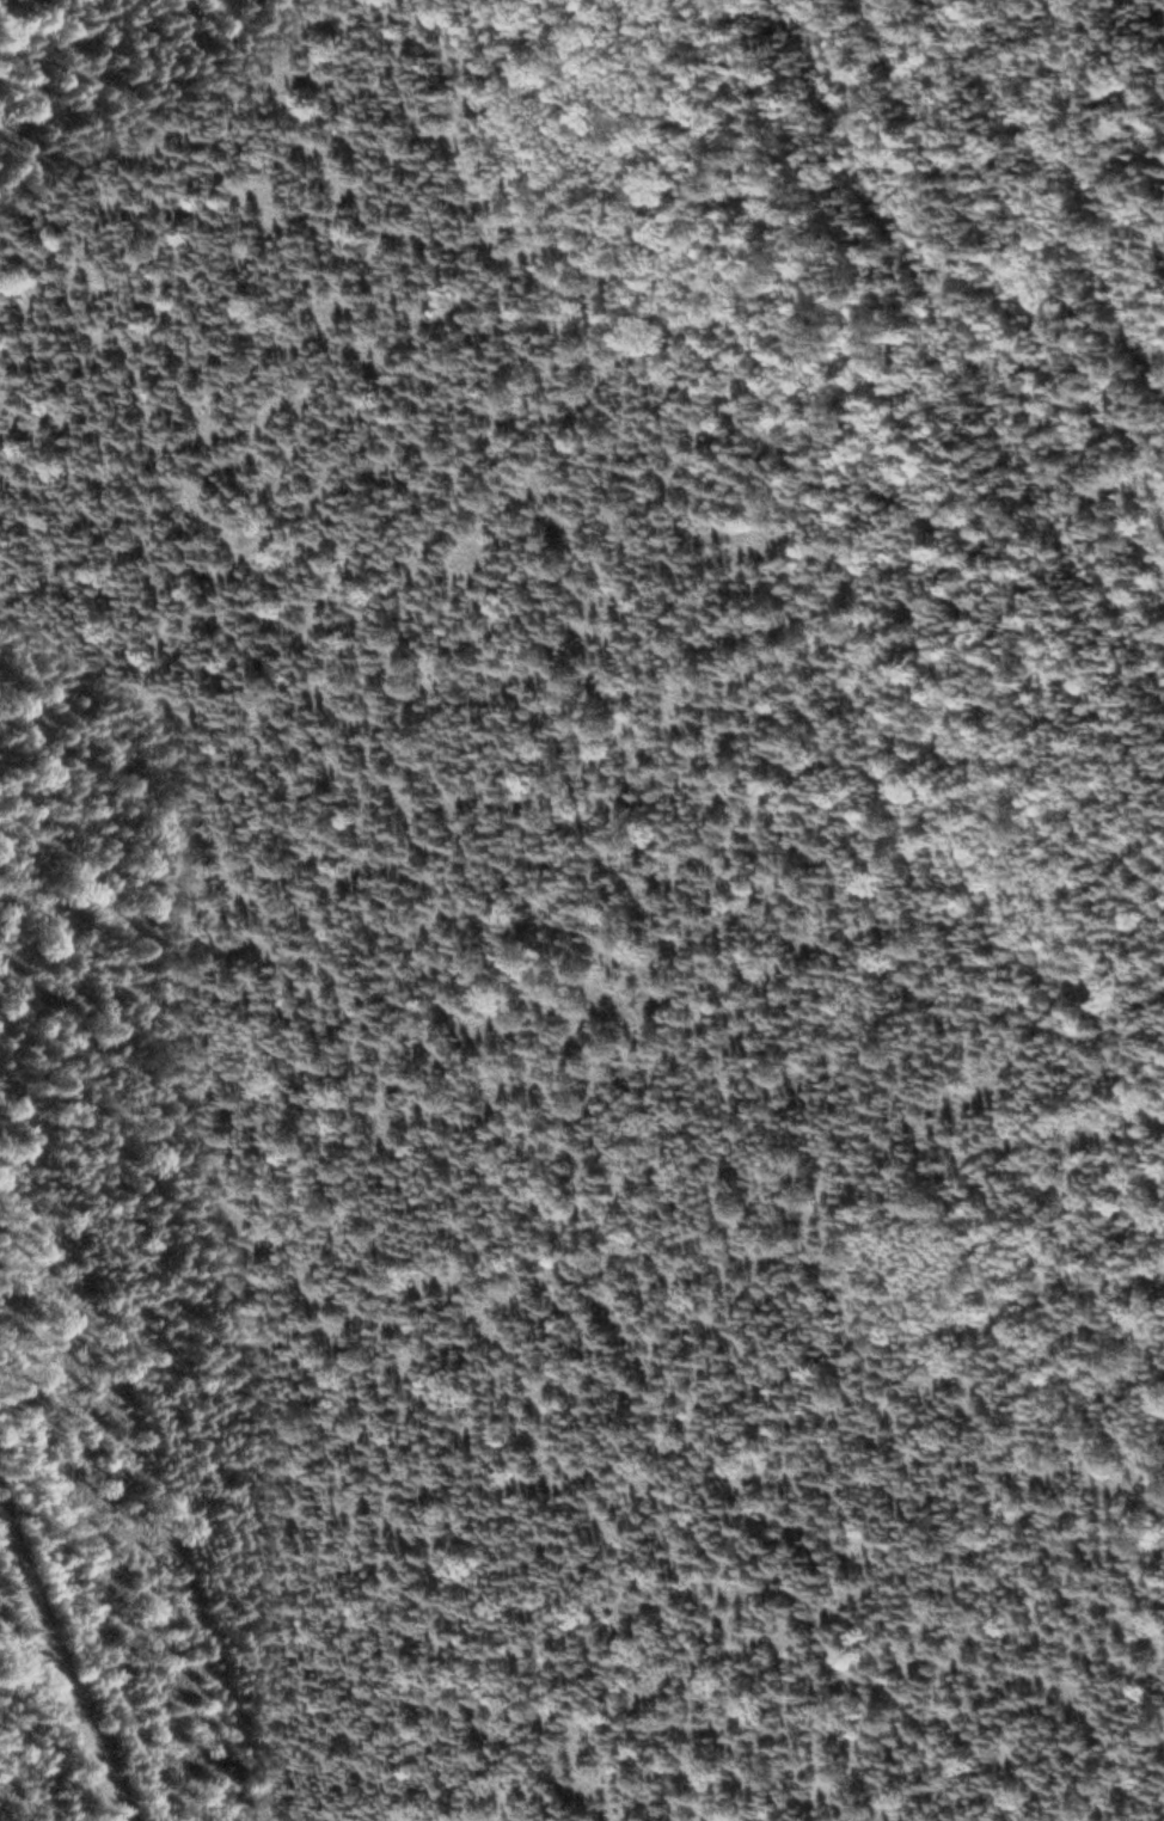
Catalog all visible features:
road: (68, 1651)

